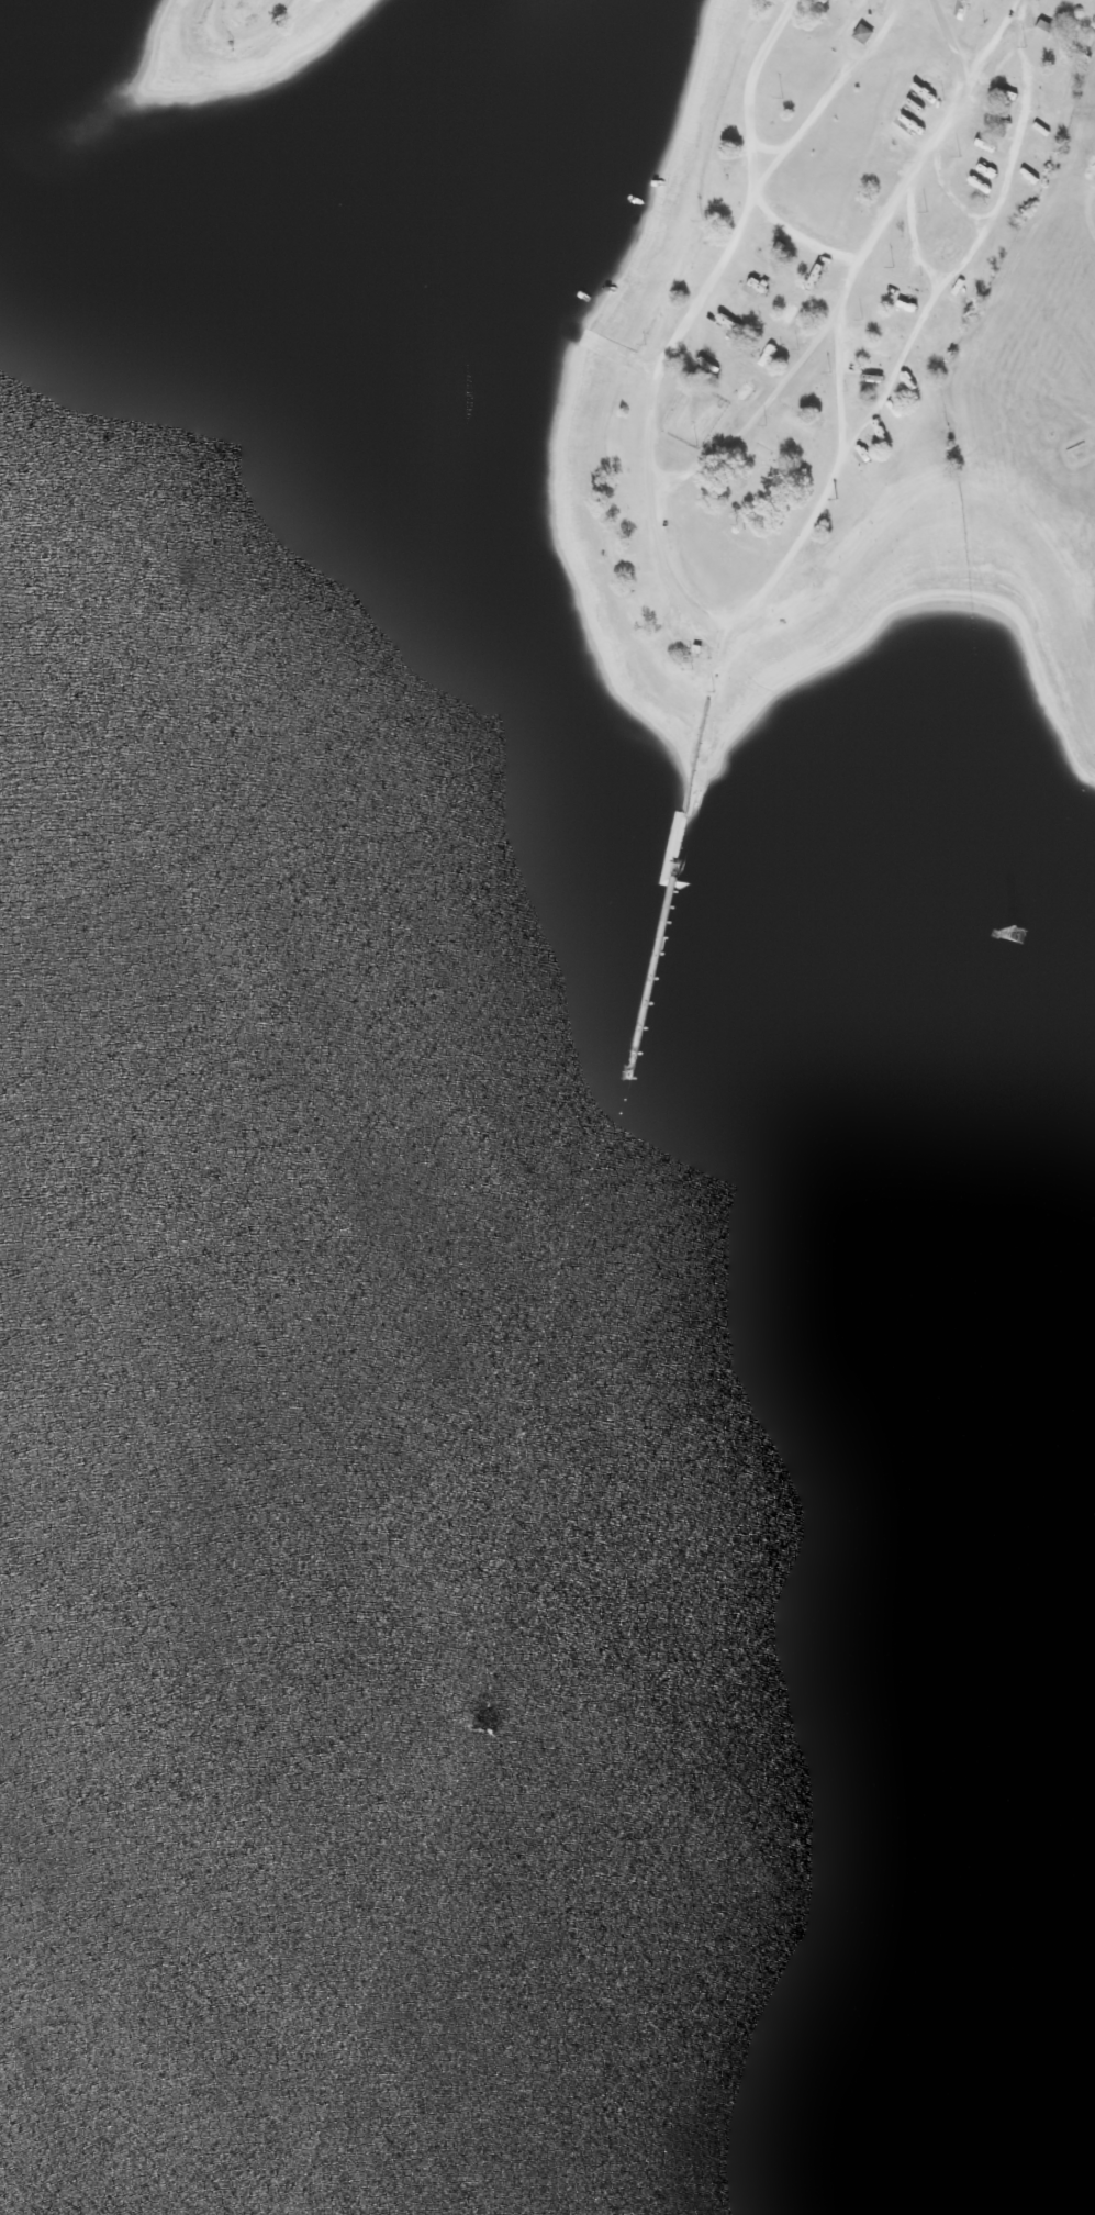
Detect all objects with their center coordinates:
building: (990, 7)
building: (1042, 30)
building: (860, 35)
road: (985, 40)
building: (1053, 78)
road: (826, 90)
road: (914, 162)
road: (941, 188)
road: (797, 240)
road: (972, 245)
road: (725, 249)
building: (863, 385)
road: (658, 491)
building: (215, 1428)
building: (435, 1907)

